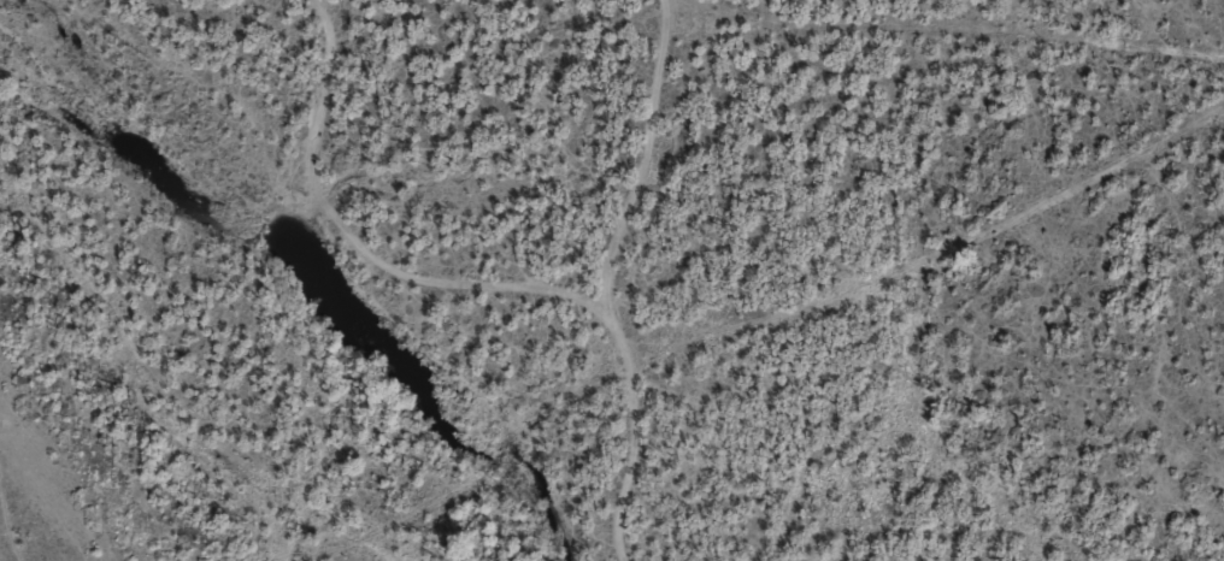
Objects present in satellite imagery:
road: (637, 280)

